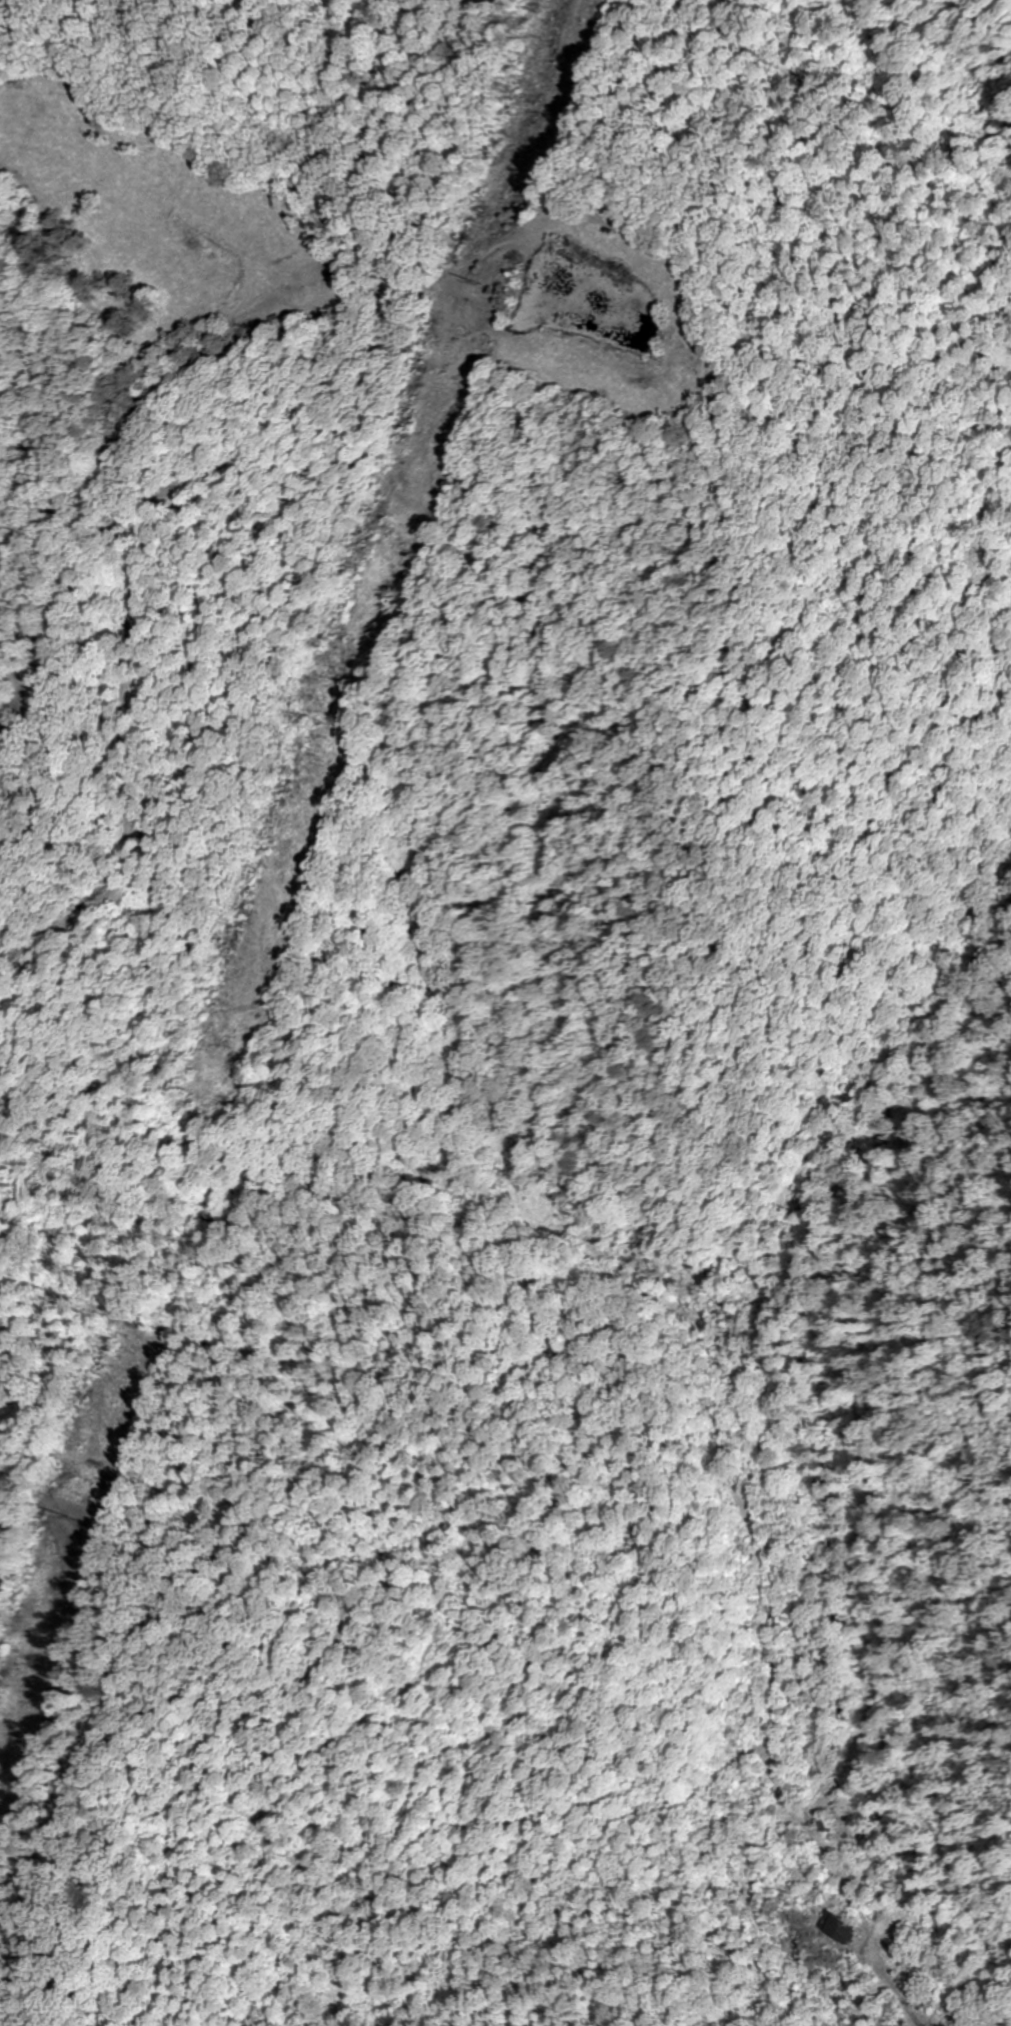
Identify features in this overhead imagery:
building: (4, 1817)
building: (837, 1926)

